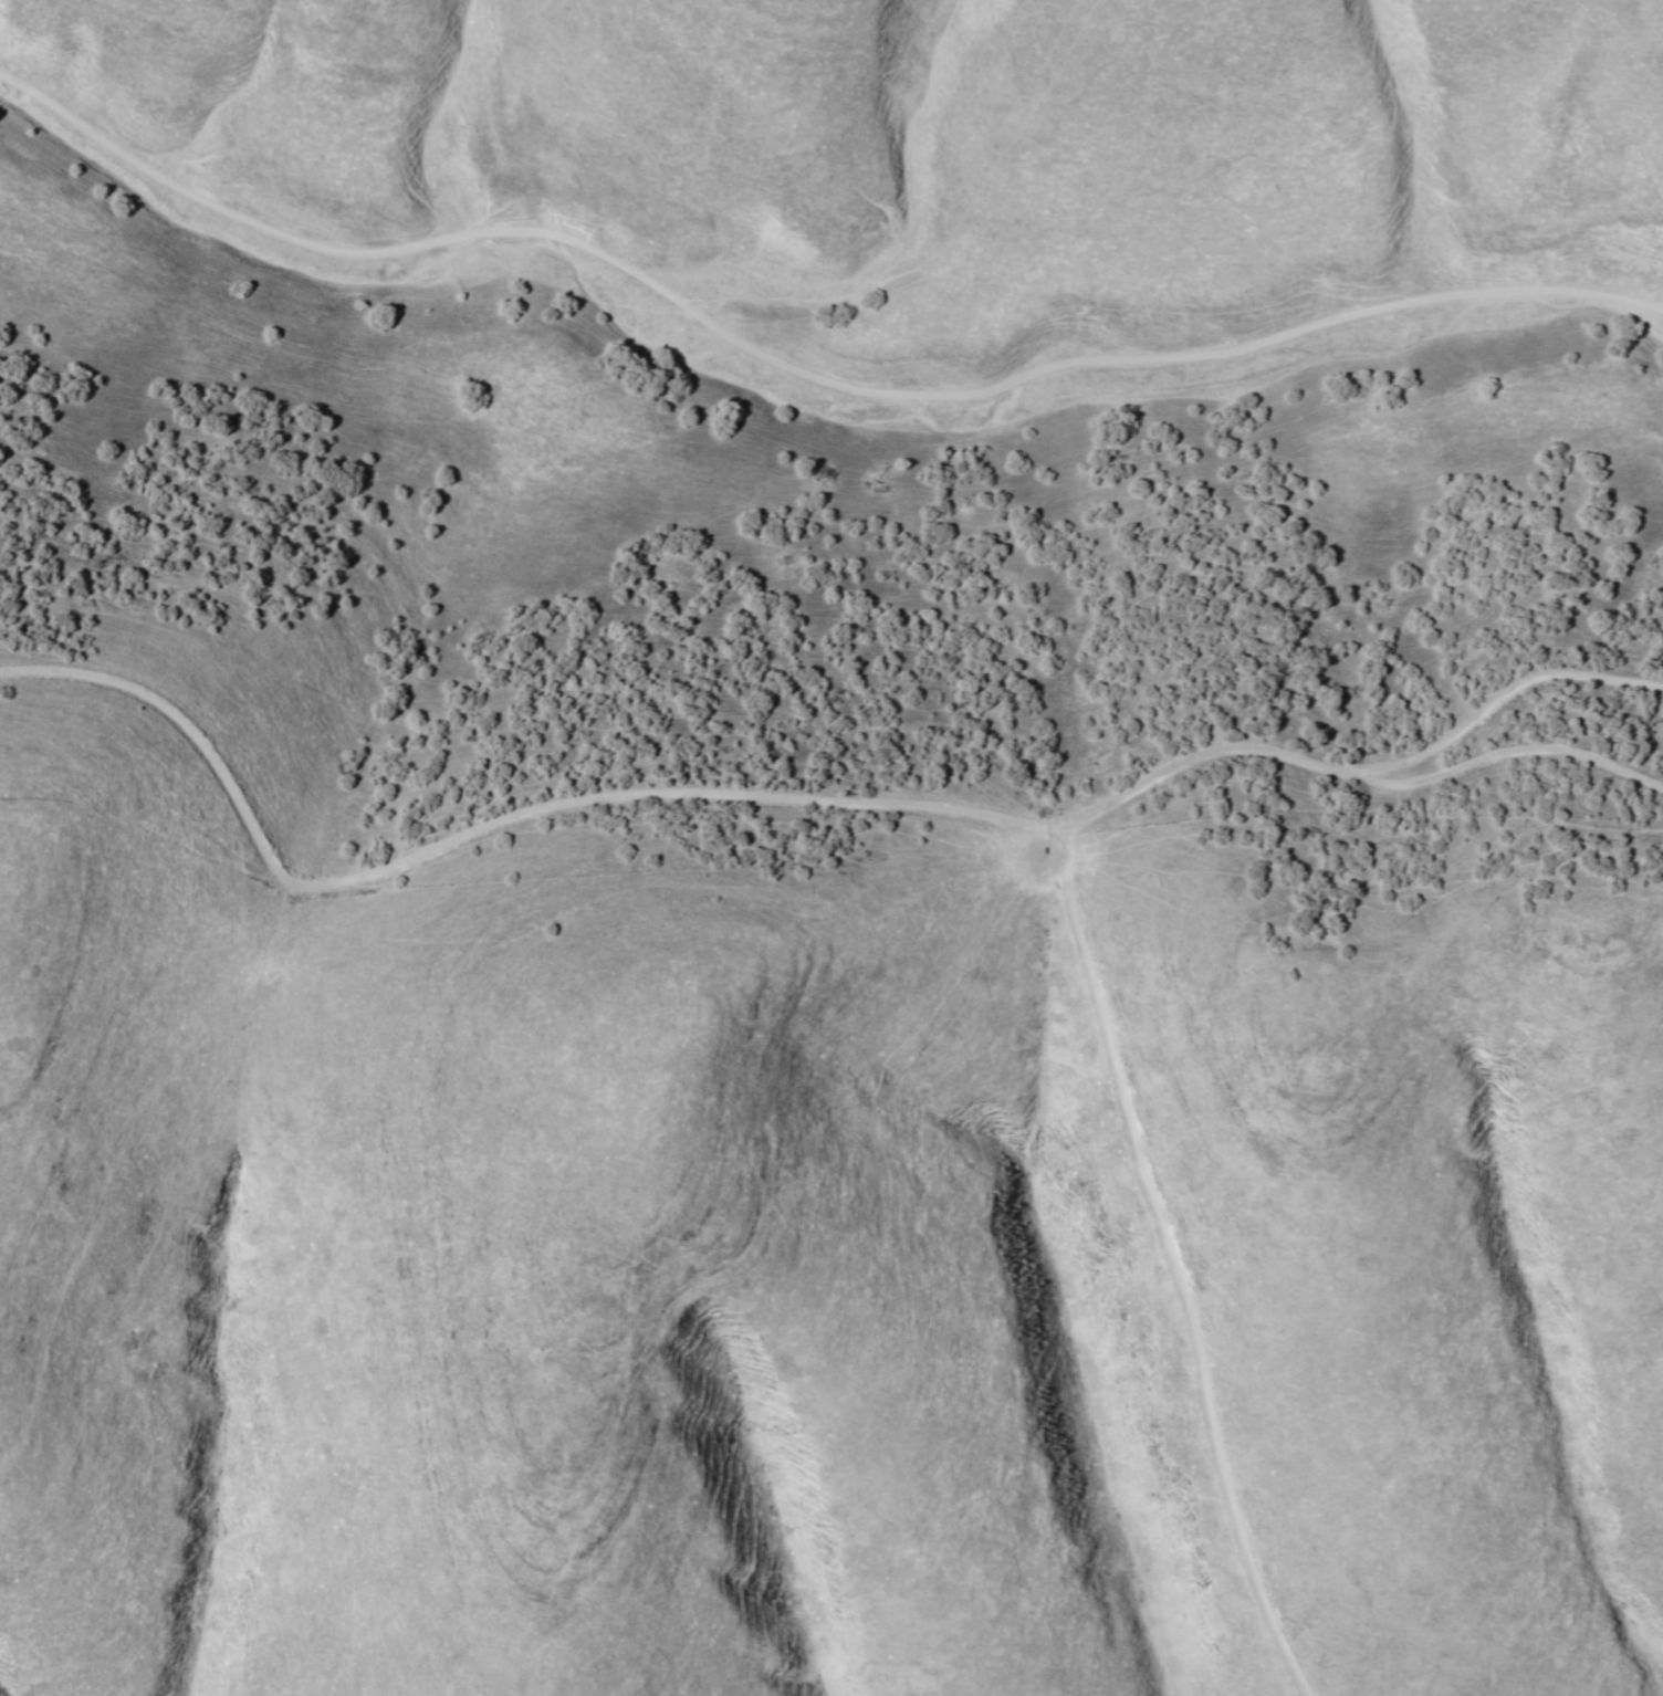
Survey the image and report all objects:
road: (807, 359)
road: (805, 820)
road: (1169, 1259)

